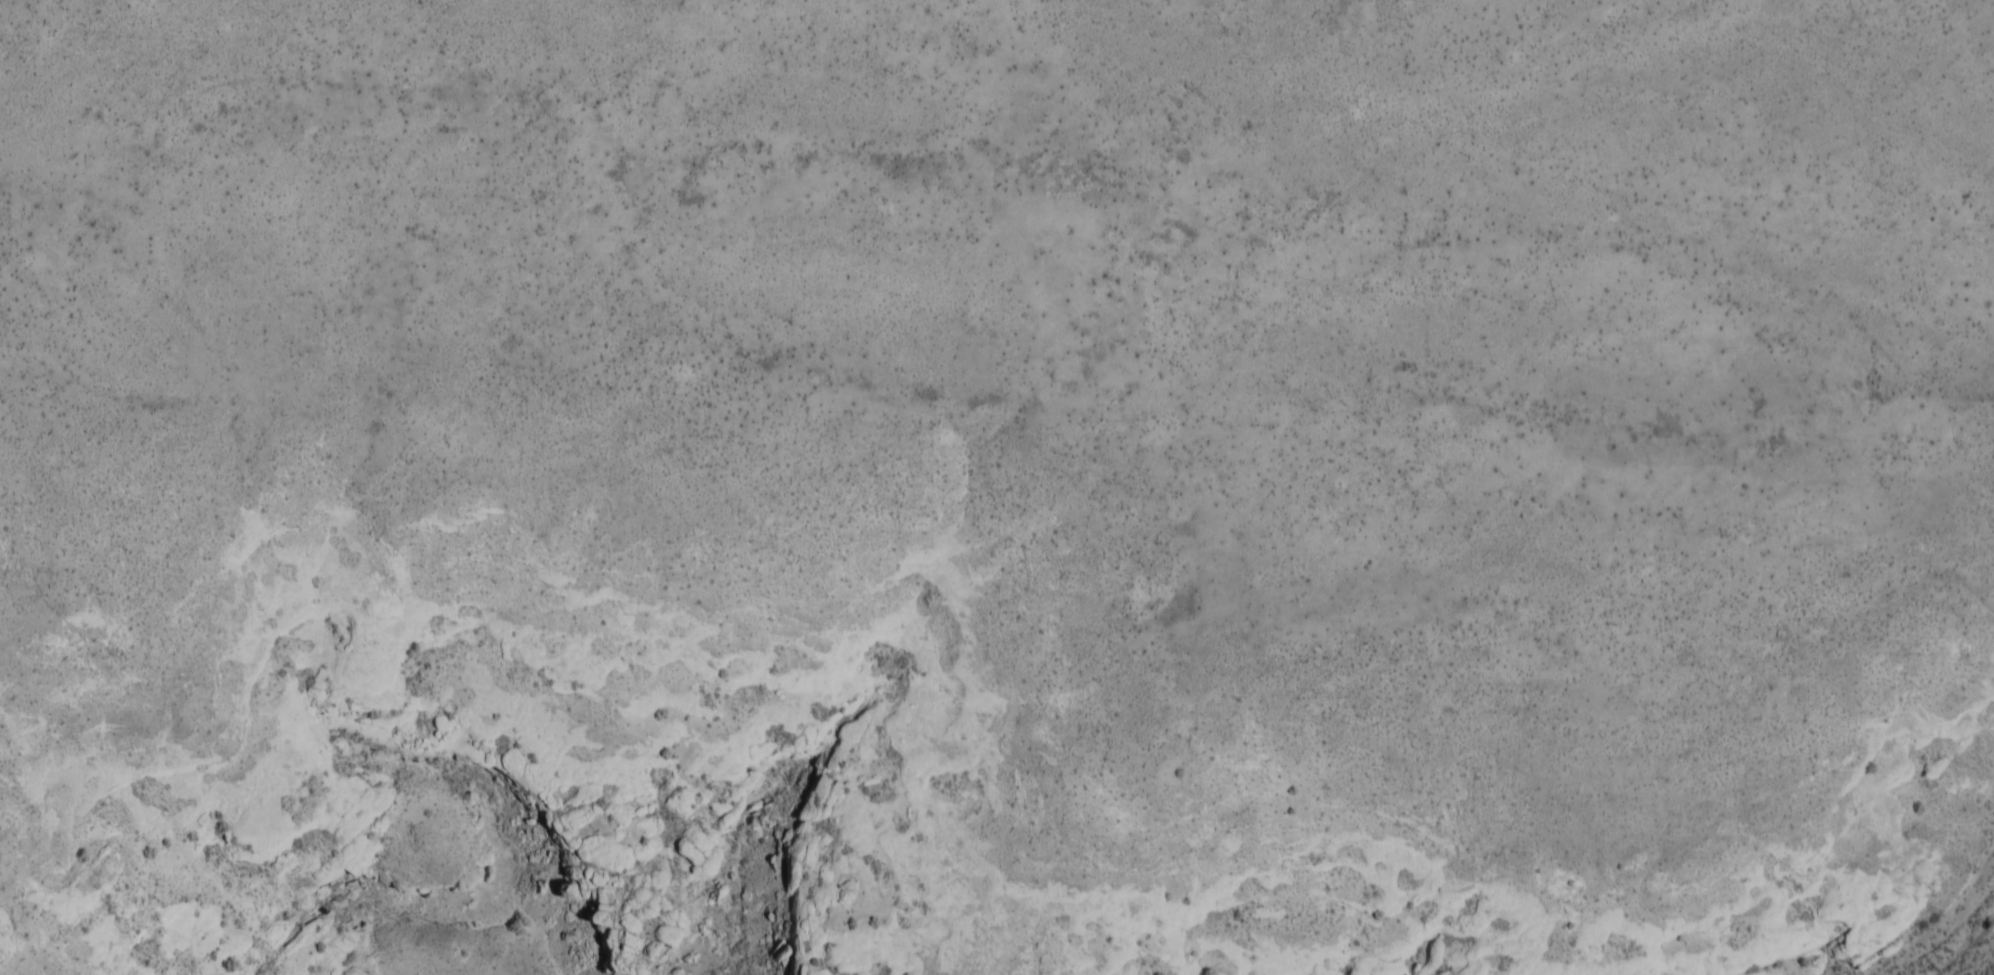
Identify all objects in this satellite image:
road: (1950, 928)

